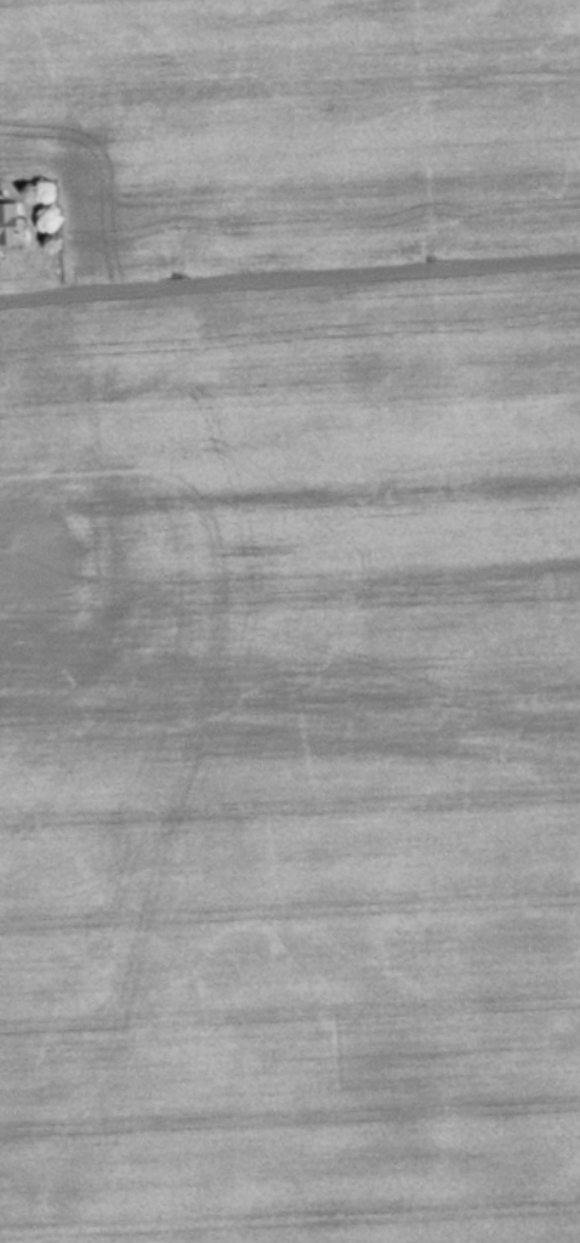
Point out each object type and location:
building: (10, 225)
road: (290, 256)

